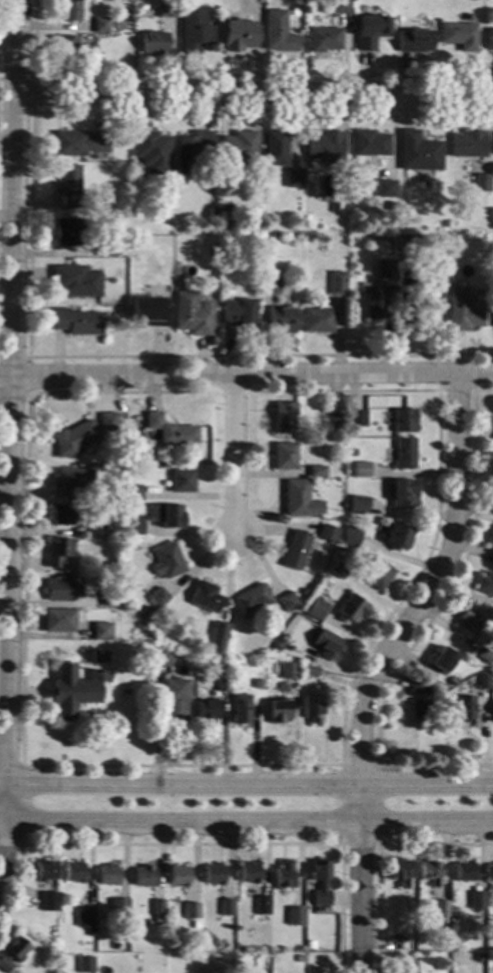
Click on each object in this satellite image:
building: (93, 2)
building: (334, 6)
building: (68, 9)
building: (165, 9)
building: (292, 11)
building: (99, 24)
building: (193, 29)
building: (369, 31)
building: (278, 32)
building: (238, 34)
building: (458, 35)
building: (322, 39)
building: (489, 39)
building: (414, 40)
building: (153, 42)
building: (65, 47)
building: (87, 52)
road: (224, 75)
road: (33, 78)
road: (253, 92)
road: (16, 113)
building: (78, 143)
building: (369, 143)
building: (466, 143)
building: (324, 146)
building: (274, 147)
building: (492, 149)
building: (190, 151)
building: (417, 151)
building: (151, 152)
building: (235, 152)
building: (291, 178)
building: (479, 182)
building: (67, 184)
building: (384, 188)
building: (388, 206)
building: (332, 207)
building: (222, 211)
building: (67, 231)
road: (30, 236)
building: (455, 238)
building: (406, 242)
building: (424, 245)
building: (212, 246)
building: (103, 247)
building: (384, 269)
building: (74, 281)
building: (336, 283)
building: (268, 285)
building: (421, 295)
building: (372, 305)
building: (119, 310)
building: (461, 310)
building: (147, 312)
building: (190, 313)
building: (235, 315)
building: (492, 315)
building: (280, 319)
building: (316, 319)
building: (75, 321)
road: (28, 375)
road: (245, 375)
road: (455, 390)
road: (232, 391)
building: (283, 416)
building: (355, 418)
building: (402, 420)
building: (332, 421)
building: (169, 429)
road: (8, 430)
building: (81, 434)
building: (350, 452)
building: (403, 453)
road: (233, 455)
building: (284, 455)
building: (360, 469)
building: (316, 470)
building: (181, 480)
building: (71, 482)
building: (132, 493)
building: (402, 494)
building: (298, 499)
building: (358, 504)
building: (62, 514)
building: (167, 515)
building: (133, 524)
building: (94, 526)
building: (110, 532)
building: (326, 532)
building: (350, 536)
building: (397, 536)
building: (490, 537)
building: (296, 549)
building: (56, 551)
building: (492, 555)
building: (166, 560)
building: (109, 567)
building: (336, 570)
building: (376, 574)
building: (115, 583)
building: (485, 583)
building: (61, 589)
building: (300, 591)
building: (109, 596)
building: (157, 597)
building: (204, 597)
building: (252, 598)
building: (287, 601)
building: (349, 608)
building: (315, 609)
building: (145, 613)
building: (246, 616)
building: (59, 620)
building: (467, 621)
road: (425, 627)
building: (101, 630)
building: (215, 637)
building: (181, 639)
building: (325, 645)
building: (483, 655)
building: (98, 656)
building: (161, 658)
building: (440, 659)
building: (223, 664)
road: (377, 665)
building: (288, 671)
building: (308, 671)
building: (449, 681)
building: (482, 681)
building: (221, 683)
building: (255, 683)
building: (418, 688)
building: (74, 689)
building: (174, 699)
building: (310, 707)
building: (459, 708)
building: (240, 709)
building: (206, 710)
building: (418, 710)
building: (277, 711)
building: (492, 711)
road: (196, 766)
road: (246, 785)
road: (22, 805)
road: (377, 806)
road: (246, 825)
road: (209, 844)
road: (376, 850)
building: (398, 869)
building: (44, 871)
building: (464, 871)
building: (73, 872)
building: (247, 872)
building: (429, 872)
building: (490, 873)
building: (107, 874)
building: (212, 874)
building: (177, 875)
building: (143, 876)
building: (282, 876)
building: (319, 881)
building: (476, 900)
building: (48, 901)
building: (260, 905)
building: (225, 907)
building: (118, 909)
building: (439, 909)
building: (157, 910)
building: (190, 911)
building: (293, 916)
building: (55, 917)
building: (84, 917)
building: (443, 927)
building: (89, 932)
building: (398, 942)
building: (308, 945)
building: (193, 947)
building: (12, 953)
building: (297, 958)
building: (462, 959)
building: (84, 964)

